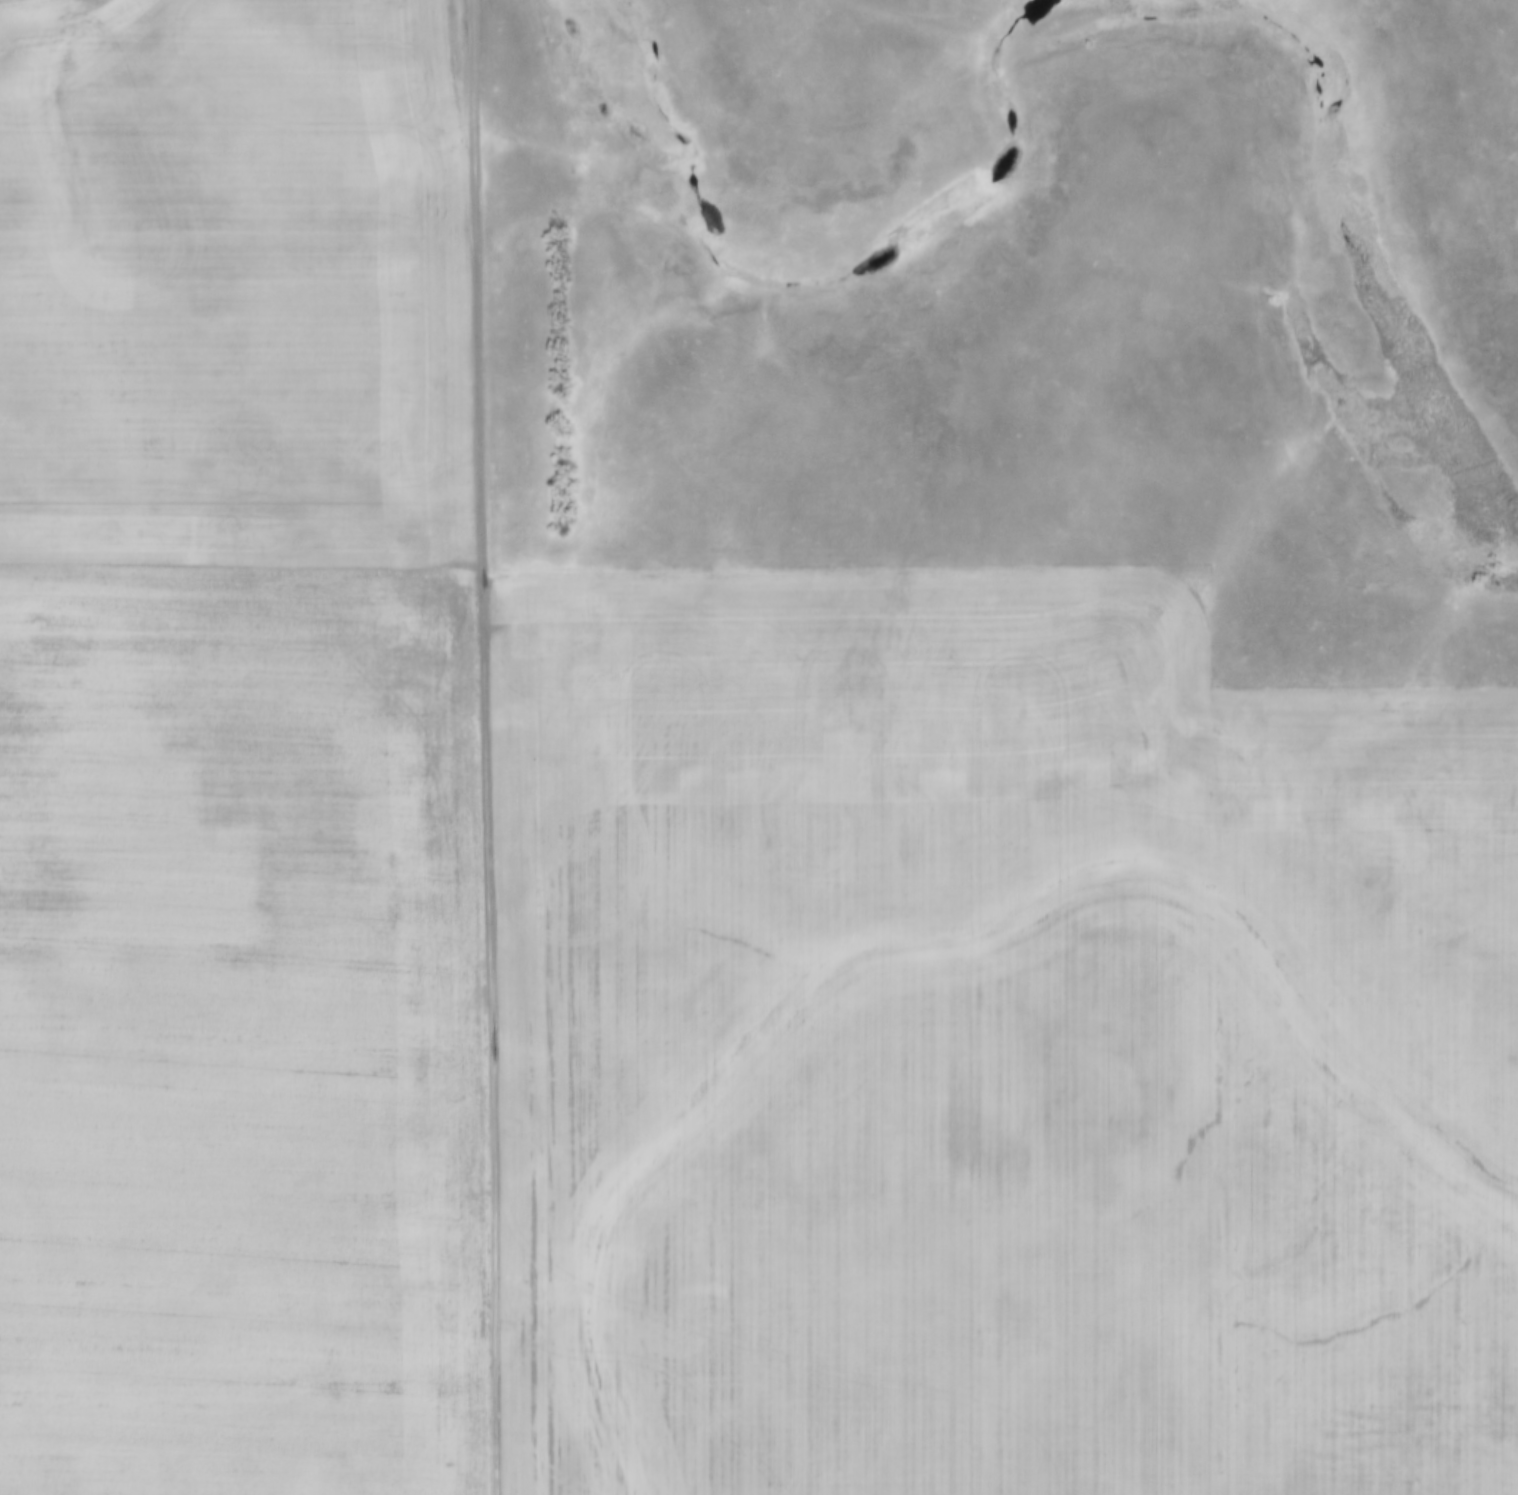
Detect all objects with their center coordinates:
road: (485, 747)

